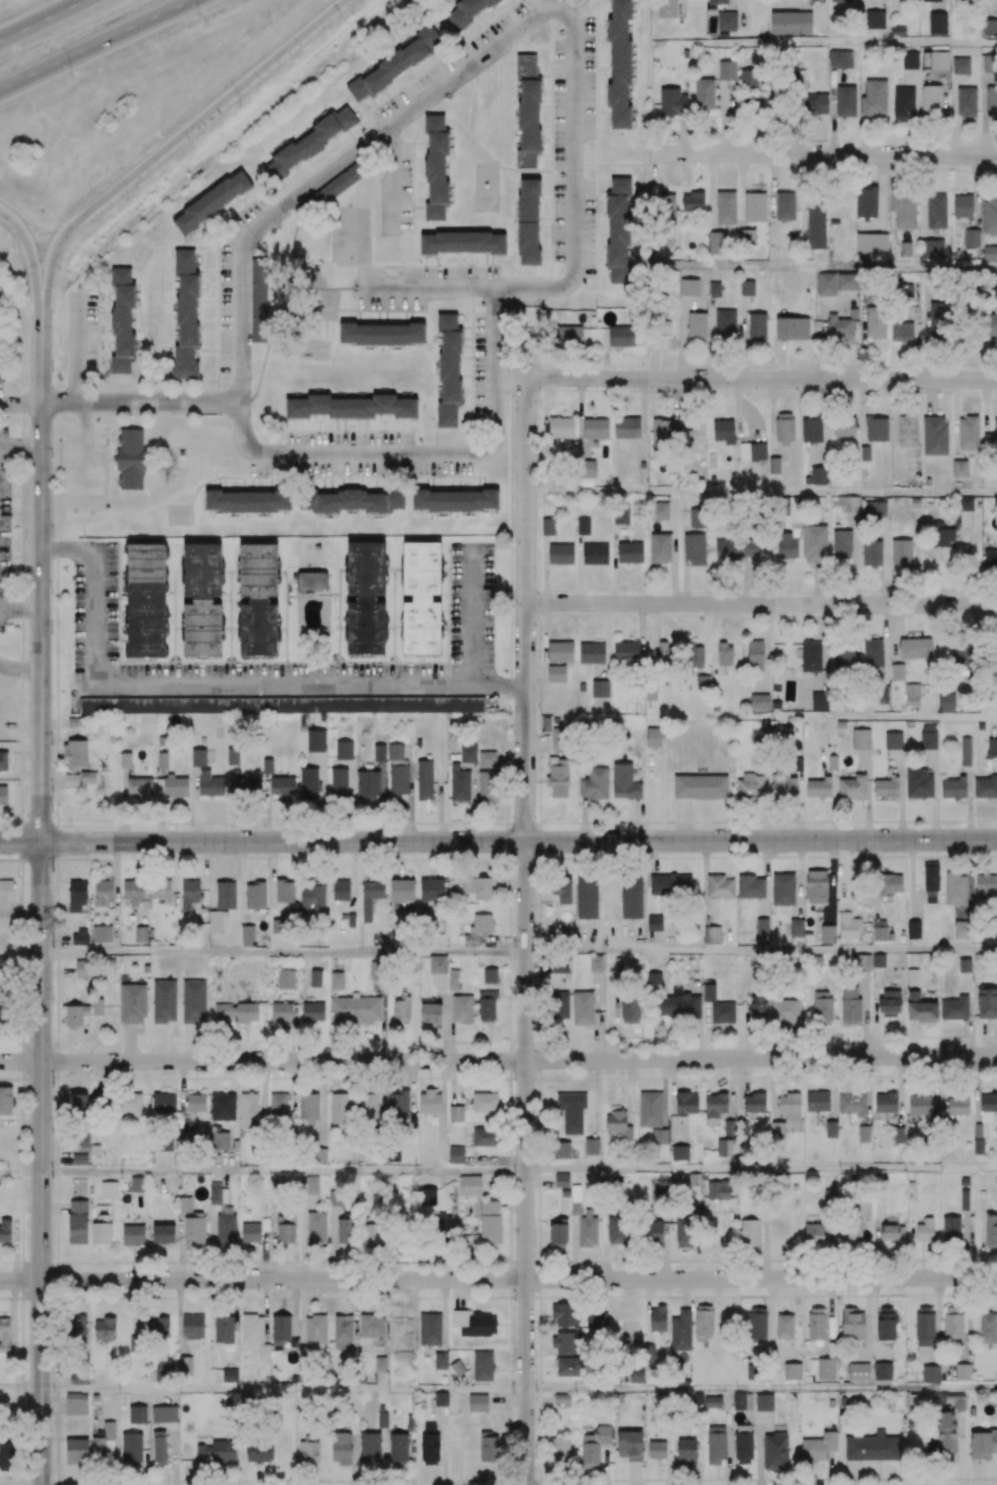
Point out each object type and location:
building: (840, 1)
building: (931, 1)
building: (718, 2)
building: (666, 9)
building: (465, 12)
building: (874, 19)
road: (42, 20)
building: (726, 20)
building: (790, 23)
building: (937, 23)
building: (989, 27)
road: (97, 44)
road: (847, 44)
building: (841, 59)
building: (910, 59)
building: (939, 60)
building: (988, 63)
building: (619, 64)
building: (960, 64)
building: (394, 65)
building: (727, 70)
building: (748, 80)
road: (576, 94)
building: (704, 95)
building: (874, 97)
building: (845, 100)
building: (931, 100)
building: (903, 101)
building: (672, 103)
building: (815, 105)
building: (528, 110)
road: (832, 110)
building: (312, 141)
road: (823, 154)
building: (436, 167)
road: (771, 185)
road: (741, 190)
road: (975, 190)
road: (712, 192)
road: (881, 192)
building: (211, 202)
building: (785, 205)
building: (754, 206)
building: (664, 207)
building: (725, 207)
building: (936, 210)
building: (528, 222)
building: (747, 236)
building: (971, 237)
building: (462, 243)
building: (905, 248)
building: (957, 251)
building: (990, 253)
road: (842, 266)
building: (775, 280)
building: (689, 286)
building: (747, 287)
building: (714, 289)
building: (259, 300)
building: (185, 315)
building: (122, 321)
building: (757, 324)
road: (682, 337)
road: (743, 337)
road: (822, 337)
road: (711, 338)
road: (781, 359)
road: (653, 364)
building: (1, 368)
road: (746, 379)
road: (931, 396)
road: (142, 402)
road: (985, 405)
road: (642, 406)
road: (742, 409)
road: (893, 410)
road: (862, 411)
road: (772, 416)
road: (955, 418)
building: (595, 427)
building: (907, 429)
building: (968, 431)
building: (935, 435)
road: (21, 445)
road: (84, 446)
road: (254, 451)
building: (865, 452)
building: (774, 464)
building: (606, 479)
road: (762, 494)
building: (916, 501)
building: (659, 510)
building: (583, 525)
building: (547, 526)
building: (660, 547)
road: (673, 548)
building: (629, 551)
building: (560, 553)
building: (595, 553)
road: (614, 562)
road: (544, 568)
road: (579, 568)
road: (746, 580)
road: (685, 582)
road: (761, 604)
road: (21, 608)
road: (526, 608)
road: (476, 614)
road: (607, 641)
road: (654, 641)
building: (560, 651)
building: (591, 652)
road: (20, 668)
road: (535, 671)
building: (556, 673)
road: (225, 685)
building: (581, 686)
building: (600, 688)
building: (758, 700)
building: (322, 717)
road: (873, 718)
building: (316, 740)
building: (379, 751)
building: (395, 751)
building: (198, 757)
road: (511, 757)
building: (487, 758)
building: (125, 759)
building: (267, 765)
building: (398, 779)
building: (700, 786)
road: (649, 798)
road: (582, 819)
road: (634, 820)
road: (682, 820)
road: (519, 841)
road: (21, 842)
road: (42, 854)
road: (766, 878)
road: (798, 878)
road: (911, 879)
road: (704, 882)
road: (761, 951)
road: (21, 953)
road: (284, 953)
road: (874, 1011)
road: (864, 1013)
road: (442, 1016)
road: (449, 1024)
road: (707, 1029)
road: (911, 1038)
road: (130, 1042)
road: (80, 1043)
road: (519, 1060)
road: (21, 1061)
road: (452, 1081)
road: (410, 1084)
road: (740, 1087)
road: (732, 1088)
road: (627, 1091)
road: (663, 1092)
road: (182, 1094)
road: (441, 1102)
road: (21, 1120)
road: (56, 1158)
road: (526, 1163)
road: (761, 1169)
road: (21, 1170)
road: (284, 1170)
road: (109, 1175)
road: (160, 1179)
road: (92, 1183)
road: (55, 1206)
road: (181, 1246)
road: (15, 1250)
road: (519, 1279)
road: (21, 1280)
road: (461, 1293)
road: (412, 1299)
road: (264, 1310)
road: (302, 1312)
road: (443, 1314)
road: (178, 1316)
road: (762, 1389)
road: (21, 1390)
road: (284, 1390)
road: (507, 1399)
road: (443, 1445)
building: (658, 1450)
road: (604, 1465)
road: (699, 1468)
road: (634, 1473)
road: (670, 1476)

